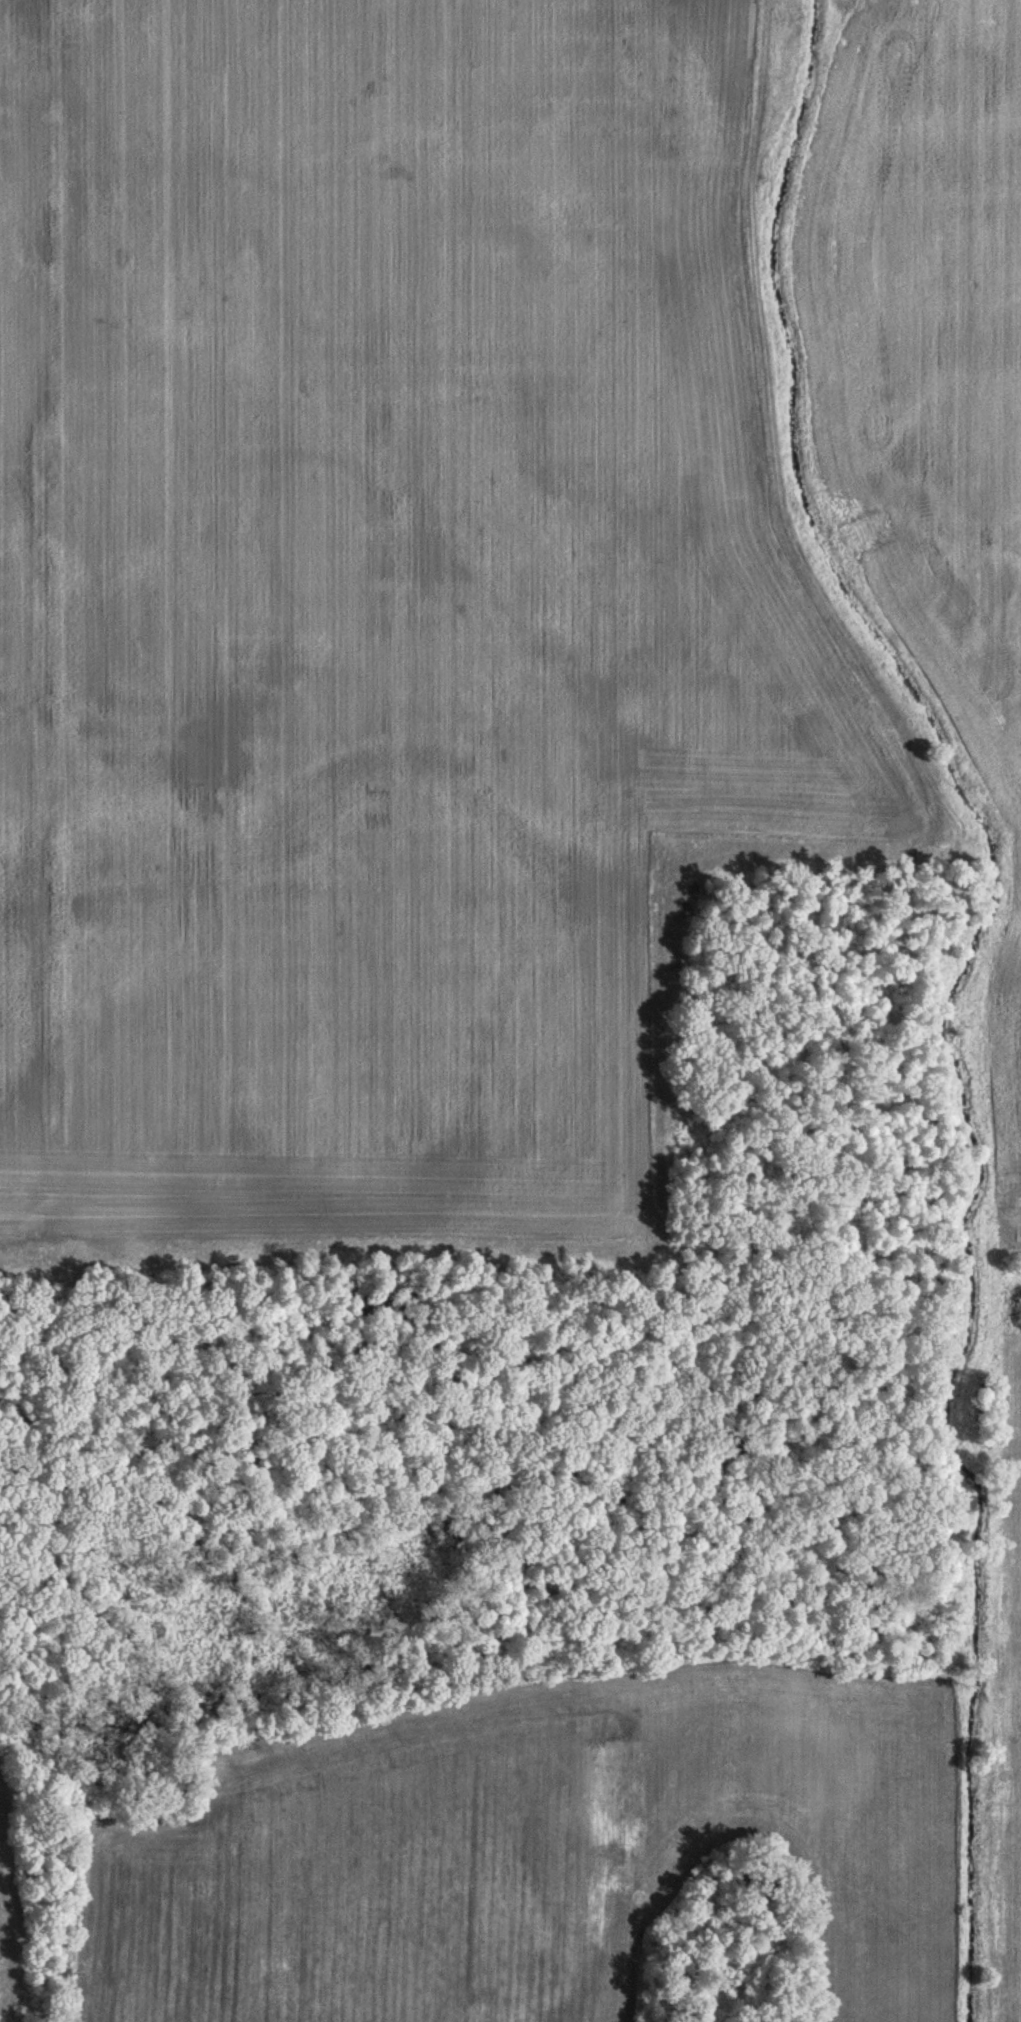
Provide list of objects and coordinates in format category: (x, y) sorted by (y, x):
crop: (934, 406)

